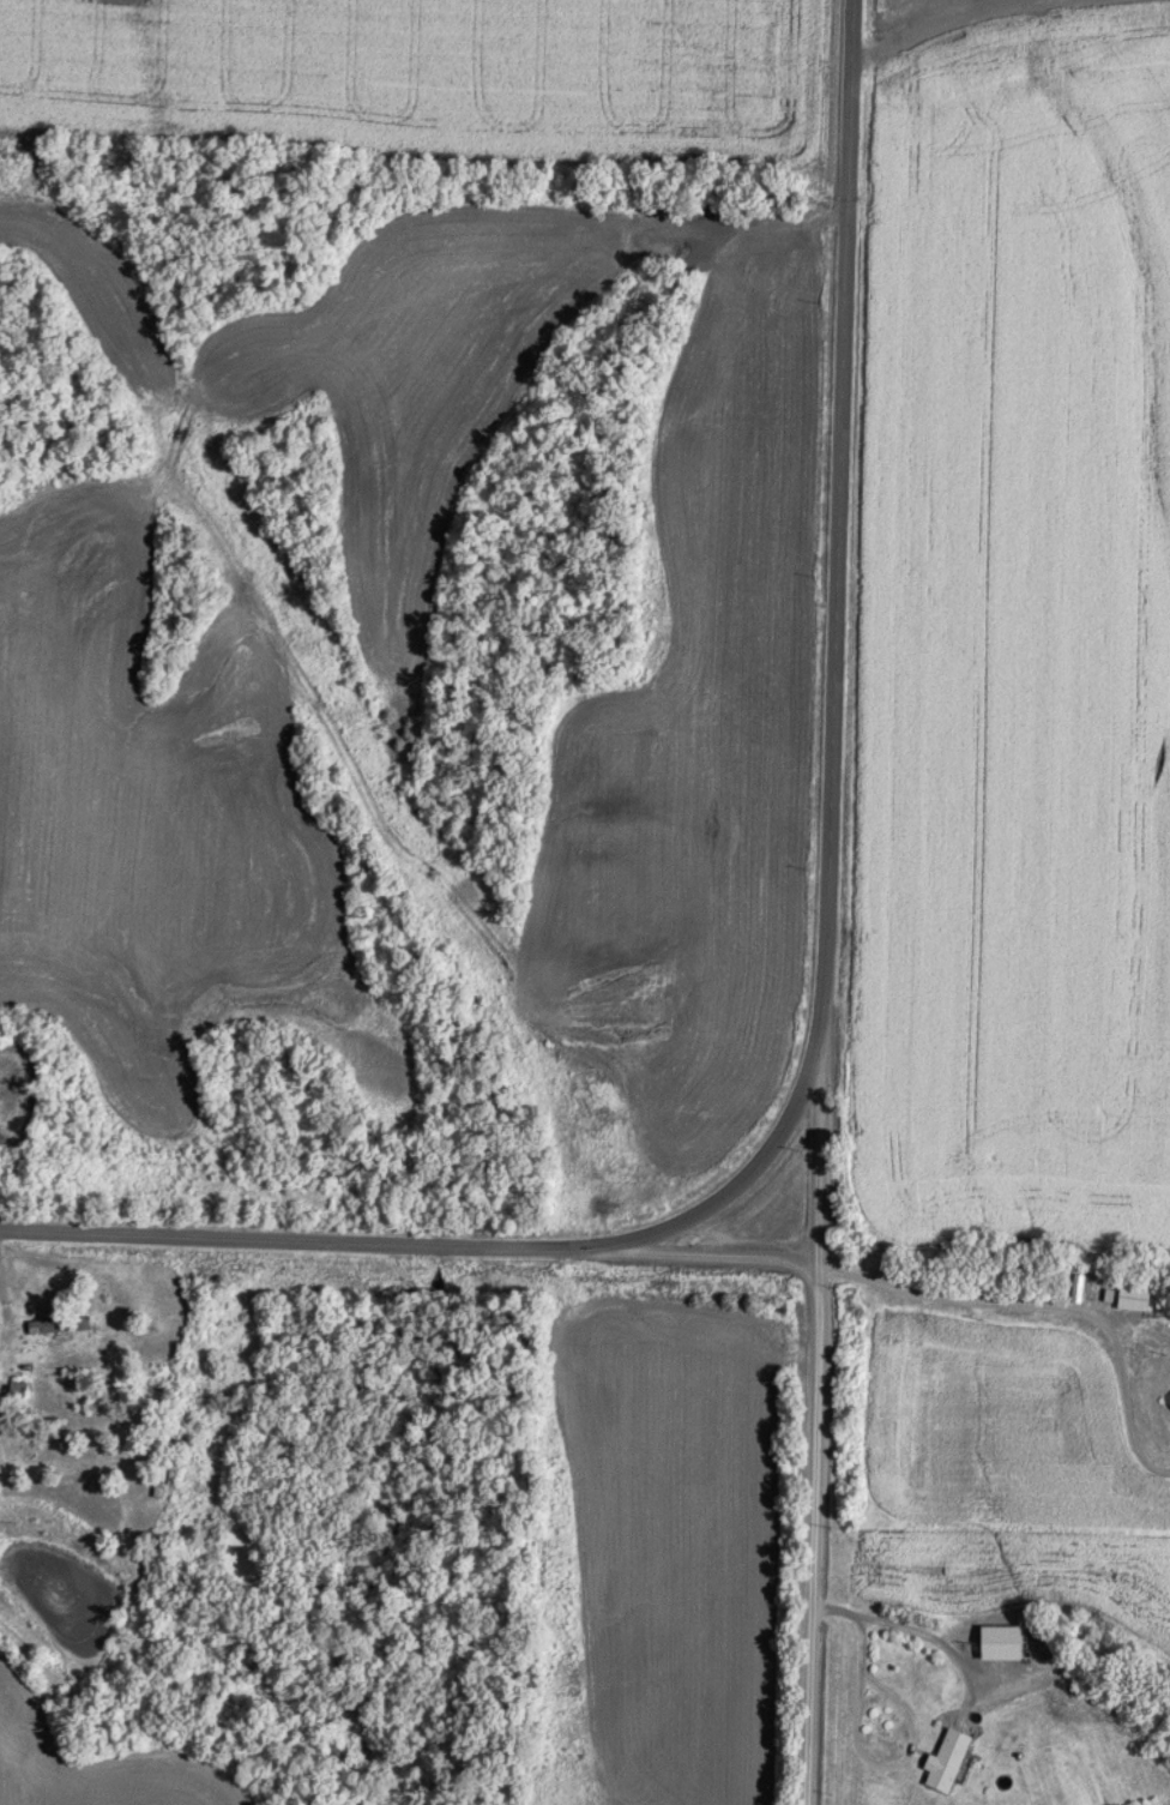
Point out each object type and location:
road: (826, 980)
road: (711, 1253)
building: (1138, 1296)
building: (46, 1338)
building: (72, 1397)
building: (1168, 1398)
road: (819, 1415)
building: (952, 1761)

